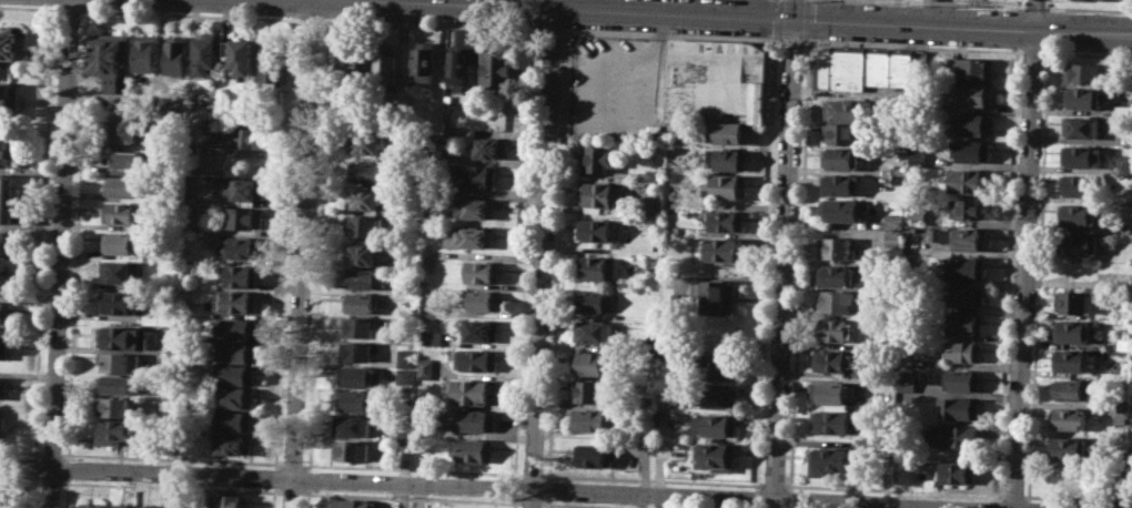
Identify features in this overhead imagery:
building: (1094, 0)
road: (952, 3)
road: (1020, 3)
road: (1051, 3)
road: (29, 7)
road: (1035, 7)
road: (70, 8)
road: (795, 9)
road: (1088, 9)
road: (191, 13)
road: (1034, 14)
road: (746, 17)
road: (780, 18)
traffic signals: (795, 19)
road: (312, 20)
road: (807, 20)
road: (431, 24)
road: (550, 29)
road: (654, 35)
road: (671, 35)
road: (794, 40)
building: (11, 42)
road: (916, 47)
road: (1034, 51)
building: (204, 52)
building: (145, 53)
road: (1089, 53)
building: (176, 54)
building: (240, 55)
building: (464, 55)
road: (570, 55)
road: (621, 57)
building: (111, 58)
building: (426, 60)
building: (387, 62)
building: (272, 65)
building: (351, 67)
building: (838, 67)
building: (877, 67)
building: (901, 68)
building: (974, 68)
building: (497, 69)
building: (1083, 72)
building: (716, 81)
road: (589, 87)
parking lot: (619, 87)
building: (973, 92)
building: (1082, 98)
building: (10, 101)
building: (170, 105)
building: (845, 109)
building: (202, 113)
road: (650, 120)
building: (972, 123)
building: (1082, 128)
building: (123, 129)
building: (728, 133)
building: (841, 133)
building: (236, 136)
building: (366, 142)
building: (438, 148)
building: (492, 148)
building: (972, 150)
building: (8, 152)
building: (1081, 155)
building: (602, 156)
building: (842, 158)
building: (918, 158)
building: (728, 159)
building: (131, 162)
building: (365, 171)
building: (900, 175)
building: (481, 176)
building: (970, 181)
building: (841, 184)
building: (125, 185)
building: (727, 185)
building: (1075, 185)
building: (235, 187)
building: (603, 194)
building: (4, 197)
building: (364, 199)
building: (476, 209)
building: (970, 209)
building: (840, 210)
building: (122, 213)
building: (1078, 214)
building: (241, 217)
building: (728, 221)
building: (364, 226)
building: (596, 230)
road: (42, 232)
road: (77, 233)
building: (471, 237)
building: (967, 237)
building: (122, 242)
building: (1079, 243)
building: (8, 244)
road: (283, 244)
road: (316, 245)
building: (242, 247)
building: (836, 247)
building: (655, 250)
building: (727, 251)
road: (524, 253)
road: (59, 254)
road: (301, 254)
building: (362, 254)
road: (557, 255)
road: (542, 258)
road: (767, 262)
road: (782, 263)
road: (800, 263)
building: (598, 267)
building: (966, 267)
road: (1024, 268)
building: (483, 271)
building: (120, 272)
road: (1009, 274)
building: (241, 275)
road: (1039, 275)
building: (836, 276)
building: (362, 278)
building: (1120, 280)
building: (8, 283)
building: (720, 296)
building: (968, 296)
building: (484, 299)
building: (235, 301)
building: (836, 301)
building: (118, 302)
building: (593, 302)
building: (1073, 302)
building: (358, 303)
building: (1122, 307)
building: (6, 312)
building: (159, 316)
building: (966, 323)
building: (234, 327)
building: (357, 327)
building: (833, 329)
building: (482, 331)
building: (593, 331)
building: (1071, 331)
building: (120, 337)
building: (431, 338)
building: (6, 348)
building: (357, 350)
building: (963, 350)
building: (237, 352)
building: (406, 357)
building: (477, 359)
building: (1071, 359)
building: (832, 360)
building: (908, 360)
building: (121, 362)
building: (593, 363)
building: (720, 366)
building: (426, 367)
building: (235, 375)
building: (360, 376)
building: (406, 377)
building: (963, 380)
building: (909, 382)
building: (117, 384)
building: (3, 388)
building: (1069, 389)
building: (471, 390)
building: (592, 390)
building: (830, 393)
building: (721, 396)
building: (235, 397)
building: (355, 400)
building: (115, 406)
building: (960, 407)
building: (1121, 410)
building: (1071, 418)
building: (595, 419)
building: (0, 420)
building: (234, 420)
building: (471, 420)
building: (833, 421)
building: (716, 425)
building: (354, 426)
building: (114, 430)
building: (953, 436)
building: (232, 443)
building: (1070, 448)
building: (473, 449)
building: (353, 450)
road: (20, 451)
road: (51, 453)
building: (596, 455)
building: (717, 456)
road: (171, 459)
building: (830, 459)
building: (889, 460)
road: (292, 465)
road: (33, 467)
road: (67, 467)
road: (412, 470)
building: (959, 473)
road: (532, 475)
road: (274, 478)
road: (20, 479)
road: (307, 479)
road: (651, 479)
road: (50, 481)
road: (476, 485)
road: (772, 486)
road: (170, 487)
road: (515, 487)
road: (547, 489)
road: (892, 490)
road: (31, 491)
road: (65, 492)
road: (291, 492)
road: (1012, 495)
road: (272, 497)
road: (1078, 497)
building: (4, 498)
road: (306, 498)
road: (411, 498)
road: (757, 498)
road: (790, 498)
building: (229, 500)
road: (514, 501)
building: (353, 502)
road: (530, 502)
road: (546, 502)
road: (1000, 504)
road: (1029, 504)
building: (92, 505)
building: (122, 505)
building: (176, 505)
road: (589, 505)
building: (148, 506)
building: (165, 507)

